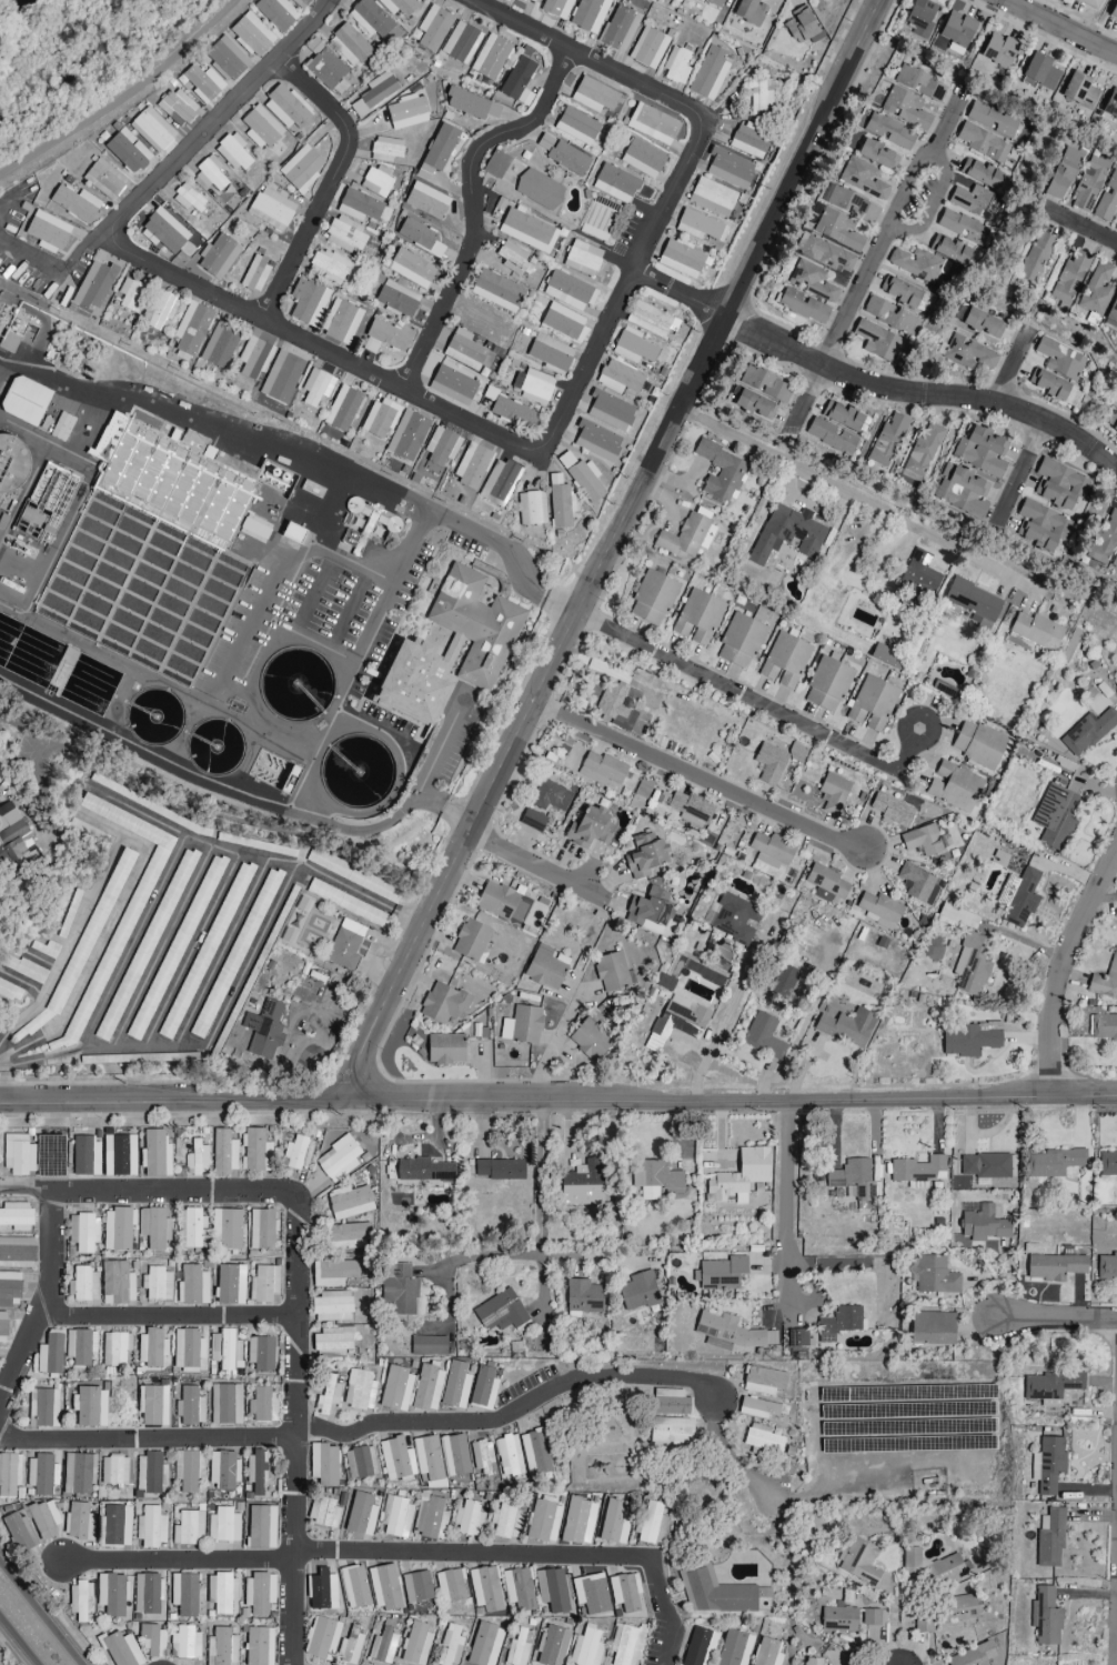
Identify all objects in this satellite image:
building: (532, 1)
building: (301, 3)
building: (718, 3)
building: (1090, 3)
building: (399, 7)
building: (557, 8)
building: (749, 11)
building: (1114, 11)
building: (275, 13)
building: (588, 14)
building: (919, 14)
building: (370, 19)
road: (1058, 27)
building: (433, 28)
building: (803, 28)
building: (618, 29)
building: (956, 31)
building: (251, 36)
building: (461, 43)
building: (349, 46)
building: (647, 48)
building: (998, 51)
building: (490, 57)
building: (227, 58)
building: (323, 64)
building: (676, 66)
building: (708, 73)
building: (1039, 73)
building: (517, 81)
building: (202, 83)
building: (919, 83)
building: (1079, 91)
building: (375, 93)
road: (122, 94)
building: (594, 96)
building: (761, 97)
building: (470, 104)
building: (1110, 104)
building: (177, 108)
building: (288, 108)
building: (905, 109)
building: (406, 112)
road: (219, 118)
building: (992, 120)
building: (652, 124)
building: (576, 127)
building: (260, 128)
building: (152, 130)
building: (888, 131)
building: (749, 141)
building: (544, 142)
building: (982, 142)
building: (440, 148)
building: (385, 149)
building: (127, 151)
building: (232, 152)
building: (876, 154)
building: (567, 159)
building: (642, 159)
building: (495, 164)
building: (729, 168)
building: (301, 169)
building: (979, 173)
building: (1061, 173)
building: (209, 174)
building: (103, 178)
building: (862, 179)
building: (376, 182)
road: (331, 183)
building: (614, 183)
building: (1088, 183)
building: (539, 190)
building: (712, 198)
building: (188, 199)
building: (1107, 200)
building: (426, 201)
building: (74, 203)
road: (930, 203)
building: (977, 203)
building: (851, 204)
building: (359, 205)
road: (473, 207)
building: (271, 209)
road: (1085, 225)
building: (700, 227)
building: (962, 227)
building: (837, 230)
building: (527, 231)
building: (47, 232)
building: (163, 232)
building: (345, 235)
building: (420, 238)
building: (949, 249)
building: (823, 253)
building: (218, 257)
road: (873, 257)
building: (1035, 258)
building: (582, 259)
building: (514, 260)
building: (683, 260)
road: (94, 264)
building: (915, 264)
building: (328, 267)
building: (411, 269)
building: (255, 274)
building: (1069, 278)
building: (812, 281)
building: (93, 285)
building: (1096, 289)
building: (497, 291)
building: (568, 291)
building: (899, 292)
road: (678, 294)
building: (130, 295)
building: (396, 299)
building: (308, 301)
building: (803, 307)
building: (159, 309)
building: (1113, 313)
building: (888, 315)
building: (650, 320)
building: (564, 322)
building: (977, 322)
building: (479, 323)
building: (191, 329)
building: (383, 338)
building: (9, 342)
building: (878, 342)
building: (220, 344)
building: (633, 348)
building: (466, 351)
building: (550, 354)
building: (967, 354)
building: (254, 358)
building: (1060, 359)
road: (0, 360)
road: (0, 361)
road: (1008, 368)
building: (618, 377)
building: (281, 378)
building: (764, 384)
building: (452, 385)
building: (316, 387)
building: (533, 387)
road: (922, 387)
building: (1054, 388)
road: (575, 389)
building: (24, 401)
building: (751, 403)
building: (342, 409)
building: (610, 410)
building: (514, 413)
building: (842, 415)
building: (379, 420)
building: (1114, 422)
building: (62, 427)
building: (406, 435)
building: (831, 438)
building: (887, 440)
building: (596, 441)
building: (441, 447)
road: (308, 448)
building: (923, 451)
building: (980, 452)
building: (472, 465)
building: (721, 470)
road: (1016, 470)
building: (1, 472)
building: (171, 475)
building: (582, 477)
building: (275, 478)
building: (499, 482)
building: (958, 484)
building: (1058, 485)
road: (857, 500)
building: (560, 502)
building: (47, 503)
building: (531, 508)
building: (1040, 526)
building: (254, 529)
building: (292, 532)
building: (787, 534)
building: (686, 538)
building: (1104, 540)
road: (6, 545)
road: (611, 545)
building: (1115, 562)
road: (32, 581)
building: (917, 583)
road: (11, 596)
building: (652, 598)
wastewater plant: (246, 601)
building: (973, 602)
building: (697, 618)
building: (475, 624)
building: (1034, 633)
building: (739, 642)
building: (886, 656)
building: (785, 661)
building: (827, 685)
building: (611, 702)
road: (759, 704)
building: (872, 704)
building: (1087, 732)
building: (978, 744)
road: (431, 763)
building: (771, 764)
building: (606, 769)
road: (185, 776)
building: (290, 780)
road: (697, 780)
building: (954, 786)
building: (834, 794)
building: (552, 796)
building: (139, 801)
road: (445, 808)
building: (693, 809)
building: (893, 811)
building: (1054, 816)
building: (533, 821)
building: (590, 828)
building: (14, 836)
building: (923, 841)
building: (772, 849)
building: (646, 855)
road: (541, 865)
building: (353, 875)
road: (163, 876)
building: (917, 882)
building: (827, 883)
road: (1104, 896)
building: (1018, 897)
building: (496, 900)
building: (353, 906)
building: (880, 907)
building: (648, 911)
building: (953, 914)
building: (735, 920)
building: (90, 931)
building: (471, 941)
building: (115, 942)
building: (145, 945)
building: (344, 945)
building: (175, 949)
road: (1064, 962)
building: (970, 965)
building: (545, 967)
building: (22, 969)
building: (612, 972)
building: (1105, 982)
building: (665, 983)
building: (785, 983)
building: (11, 992)
building: (445, 1004)
building: (271, 1010)
road: (729, 1016)
building: (676, 1022)
building: (526, 1025)
building: (847, 1027)
building: (1104, 1027)
building: (763, 1036)
road: (1032, 1037)
building: (970, 1040)
building: (590, 1041)
building: (265, 1042)
road: (555, 1045)
building: (446, 1050)
road: (779, 1073)
road: (759, 1091)
road: (558, 1097)
building: (255, 1151)
building: (223, 1153)
building: (296, 1153)
building: (155, 1154)
building: (85, 1155)
building: (119, 1155)
building: (18, 1156)
building: (50, 1156)
building: (197, 1160)
building: (338, 1160)
building: (1053, 1163)
building: (1107, 1163)
building: (985, 1166)
building: (500, 1170)
building: (918, 1170)
building: (423, 1171)
building: (741, 1176)
building: (852, 1177)
building: (655, 1180)
building: (582, 1184)
road: (789, 1200)
building: (349, 1202)
road: (536, 1203)
building: (16, 1216)
building: (982, 1223)
building: (153, 1227)
building: (117, 1230)
building: (191, 1230)
building: (227, 1230)
building: (262, 1230)
building: (83, 1232)
building: (827, 1233)
building: (349, 1236)
building: (16, 1253)
road: (592, 1256)
road: (484, 1257)
building: (1054, 1267)
building: (1106, 1270)
building: (719, 1272)
building: (333, 1273)
road: (49, 1276)
building: (934, 1276)
building: (117, 1284)
building: (157, 1284)
building: (230, 1284)
building: (264, 1284)
building: (82, 1285)
road: (295, 1285)
building: (193, 1286)
building: (10, 1288)
building: (400, 1291)
building: (638, 1292)
building: (583, 1296)
building: (331, 1307)
building: (500, 1312)
road: (165, 1315)
building: (842, 1322)
road: (1056, 1322)
building: (3, 1327)
building: (932, 1328)
building: (729, 1333)
building: (797, 1338)
building: (332, 1341)
building: (427, 1345)
building: (80, 1346)
building: (152, 1347)
building: (115, 1348)
building: (225, 1350)
building: (261, 1354)
building: (50, 1355)
building: (763, 1381)
building: (455, 1385)
building: (426, 1388)
building: (483, 1388)
building: (1051, 1388)
building: (395, 1390)
building: (359, 1391)
building: (328, 1396)
building: (670, 1403)
building: (225, 1404)
building: (153, 1405)
building: (263, 1405)
building: (90, 1406)
building: (190, 1406)
building: (43, 1408)
building: (757, 1408)
road: (510, 1415)
building: (671, 1431)
building: (763, 1441)
road: (148, 1442)
building: (535, 1453)
building: (454, 1455)
building: (507, 1456)
building: (396, 1458)
building: (482, 1458)
building: (429, 1461)
building: (360, 1462)
building: (323, 1465)
building: (1047, 1465)
building: (188, 1470)
building: (223, 1470)
building: (113, 1471)
building: (78, 1473)
building: (255, 1473)
building: (151, 1474)
building: (9, 1475)
building: (41, 1475)
road: (782, 1499)
building: (323, 1513)
building: (361, 1515)
building: (395, 1517)
building: (44, 1518)
building: (431, 1518)
building: (469, 1519)
building: (505, 1519)
building: (79, 1522)
building: (543, 1522)
building: (578, 1522)
building: (614, 1522)
building: (223, 1525)
building: (651, 1525)
building: (117, 1526)
building: (151, 1527)
building: (261, 1527)
building: (189, 1528)
building: (19, 1532)
building: (1049, 1538)
road: (527, 1554)
road: (177, 1561)
building: (859, 1562)
building: (936, 1566)
building: (451, 1586)
building: (354, 1587)
building: (384, 1587)
building: (416, 1587)
building: (519, 1589)
building: (322, 1591)
building: (485, 1591)
building: (552, 1591)
building: (625, 1592)
building: (147, 1593)
building: (221, 1593)
building: (259, 1593)
building: (112, 1594)
building: (591, 1594)
building: (718, 1594)
building: (184, 1595)
building: (79, 1599)
building: (956, 1609)
road: (41, 1611)
building: (1045, 1617)
building: (838, 1618)
building: (923, 1624)
building: (874, 1626)
building: (321, 1638)
building: (152, 1641)
road: (16, 1644)
building: (185, 1644)
building: (415, 1644)
building: (484, 1644)
building: (626, 1645)
building: (258, 1646)
building: (350, 1646)
building: (383, 1646)
building: (450, 1646)
building: (552, 1646)
building: (698, 1646)
building: (221, 1647)
building: (586, 1647)
building: (734, 1648)
building: (120, 1649)
building: (517, 1649)
building: (766, 1653)
building: (972, 1656)
building: (812, 1662)

